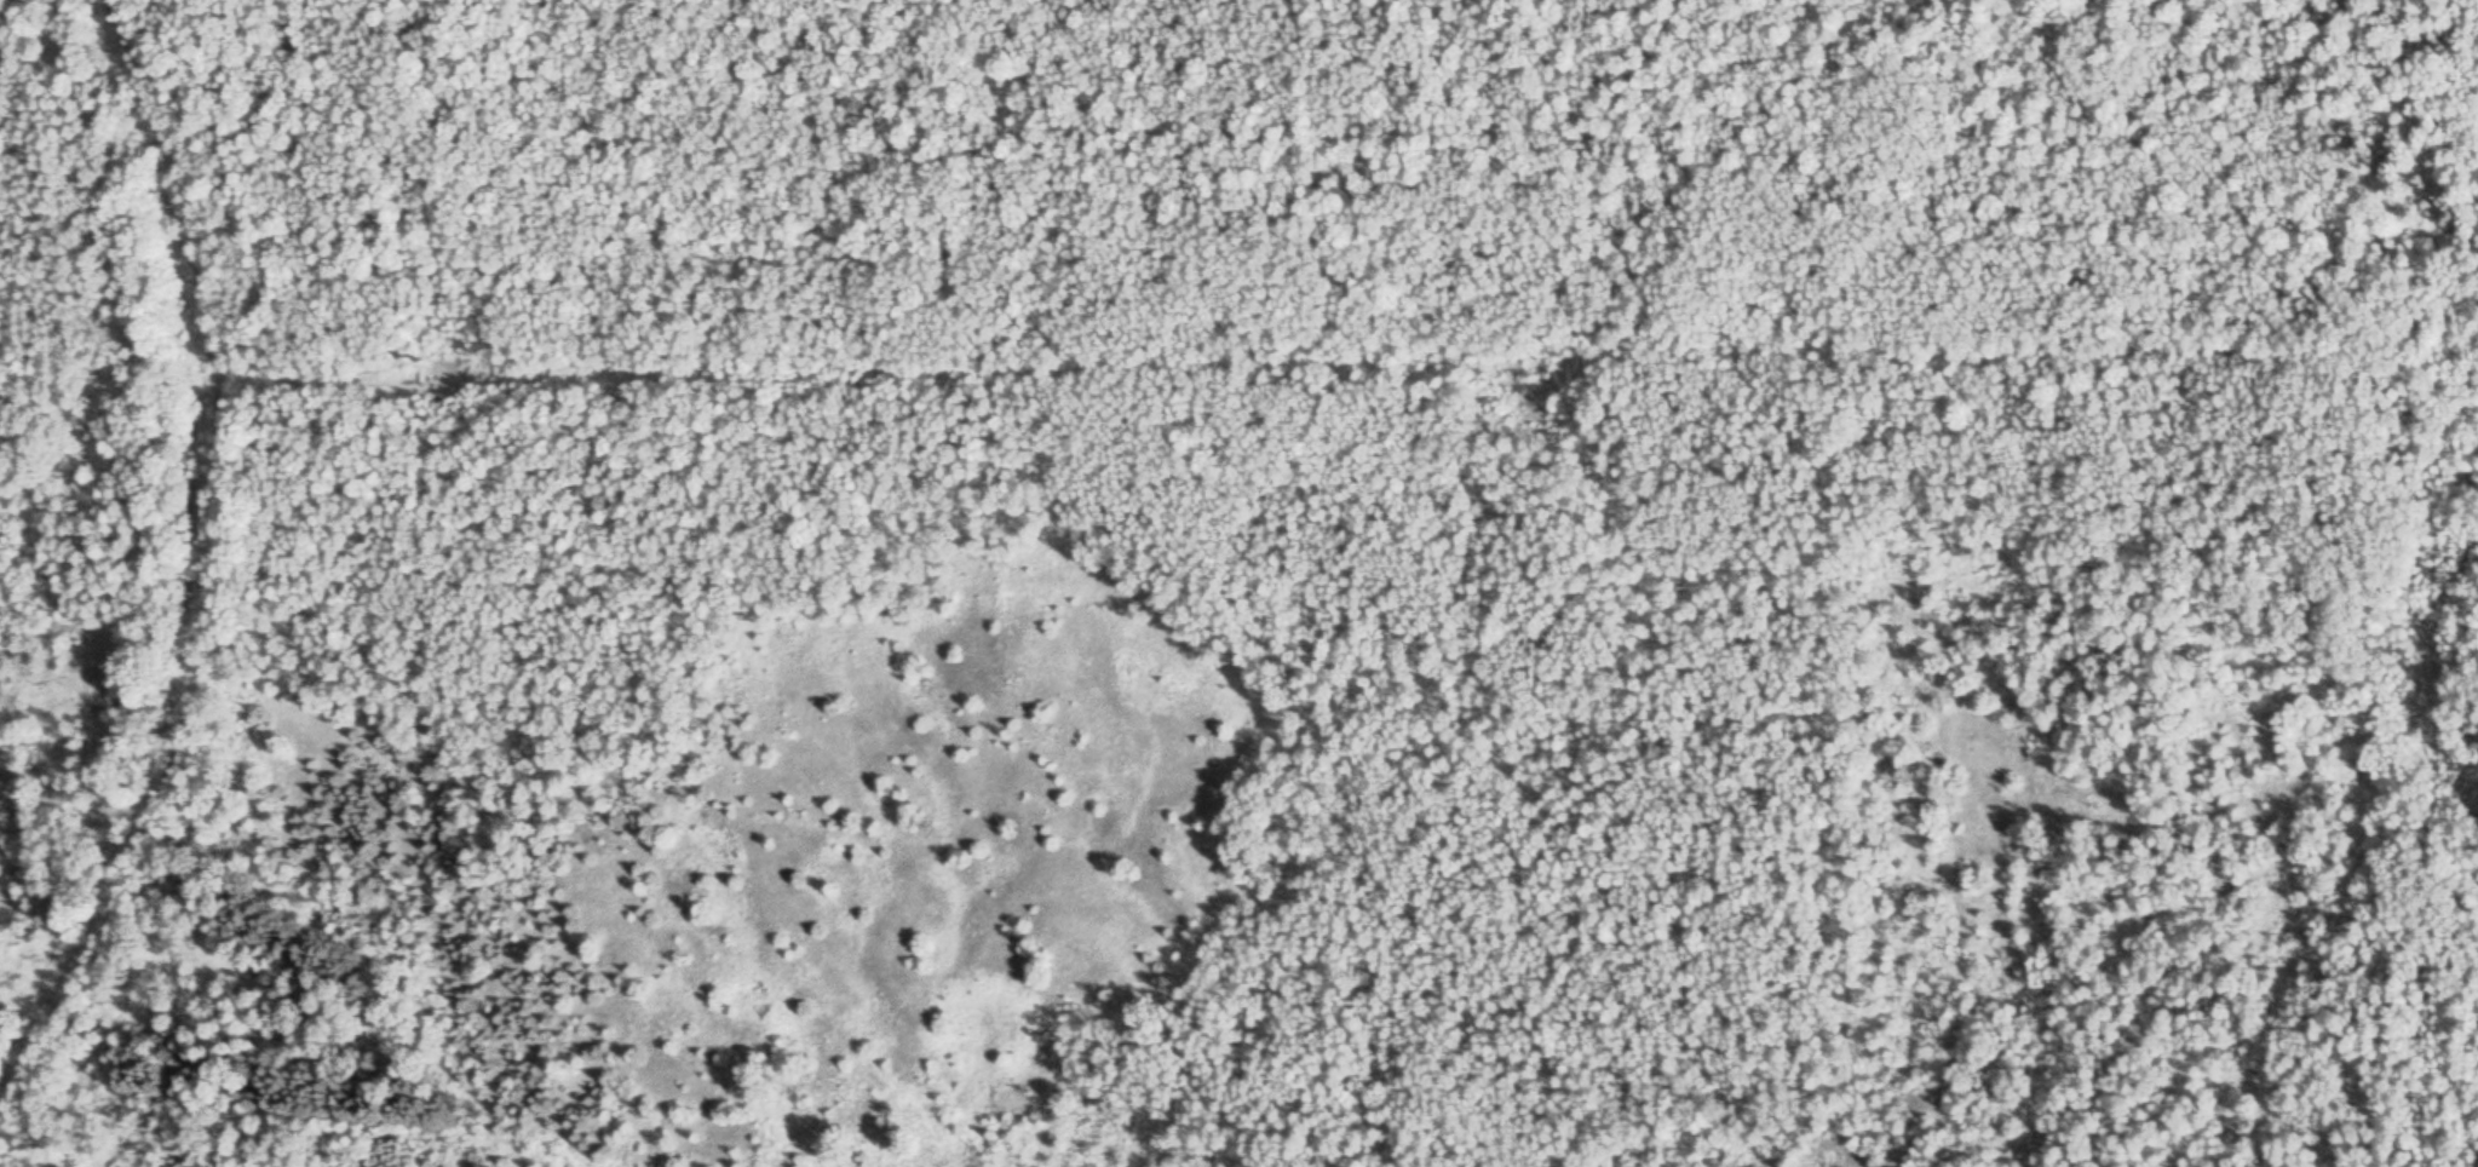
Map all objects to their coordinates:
road: (1706, 360)
road: (205, 569)

